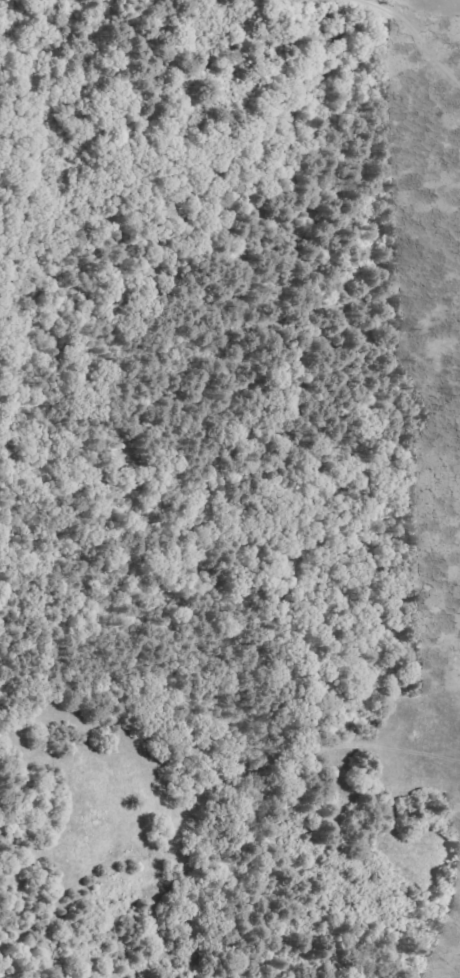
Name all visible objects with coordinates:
road: (414, 37)

